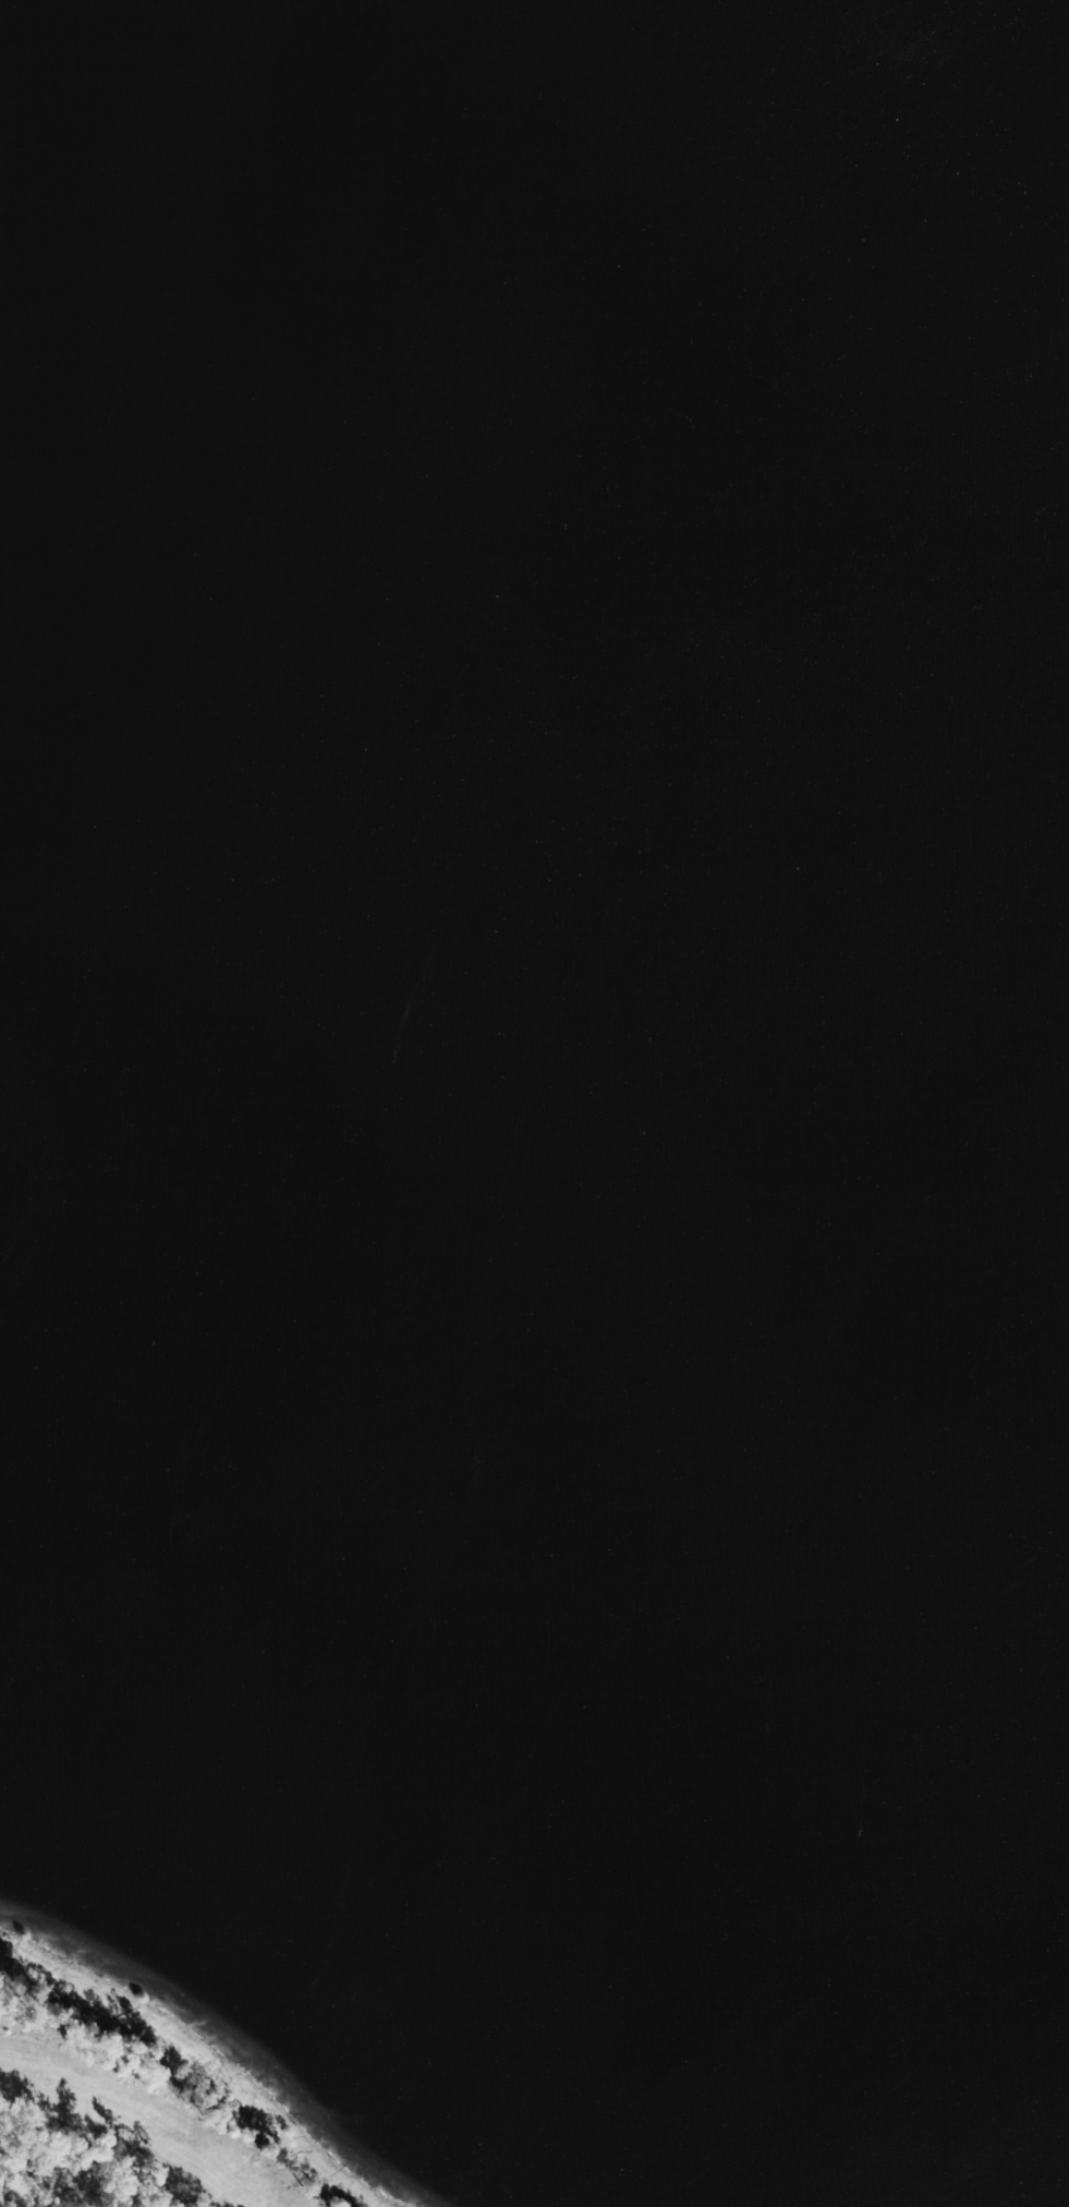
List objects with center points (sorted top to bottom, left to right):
river: (807, 97)

